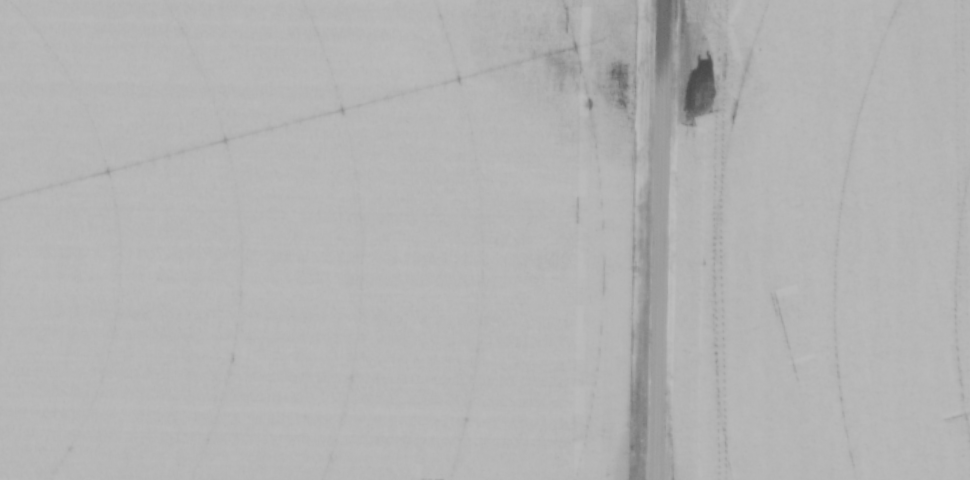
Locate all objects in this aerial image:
crop: (319, 239)
road: (659, 239)
crop: (822, 241)

